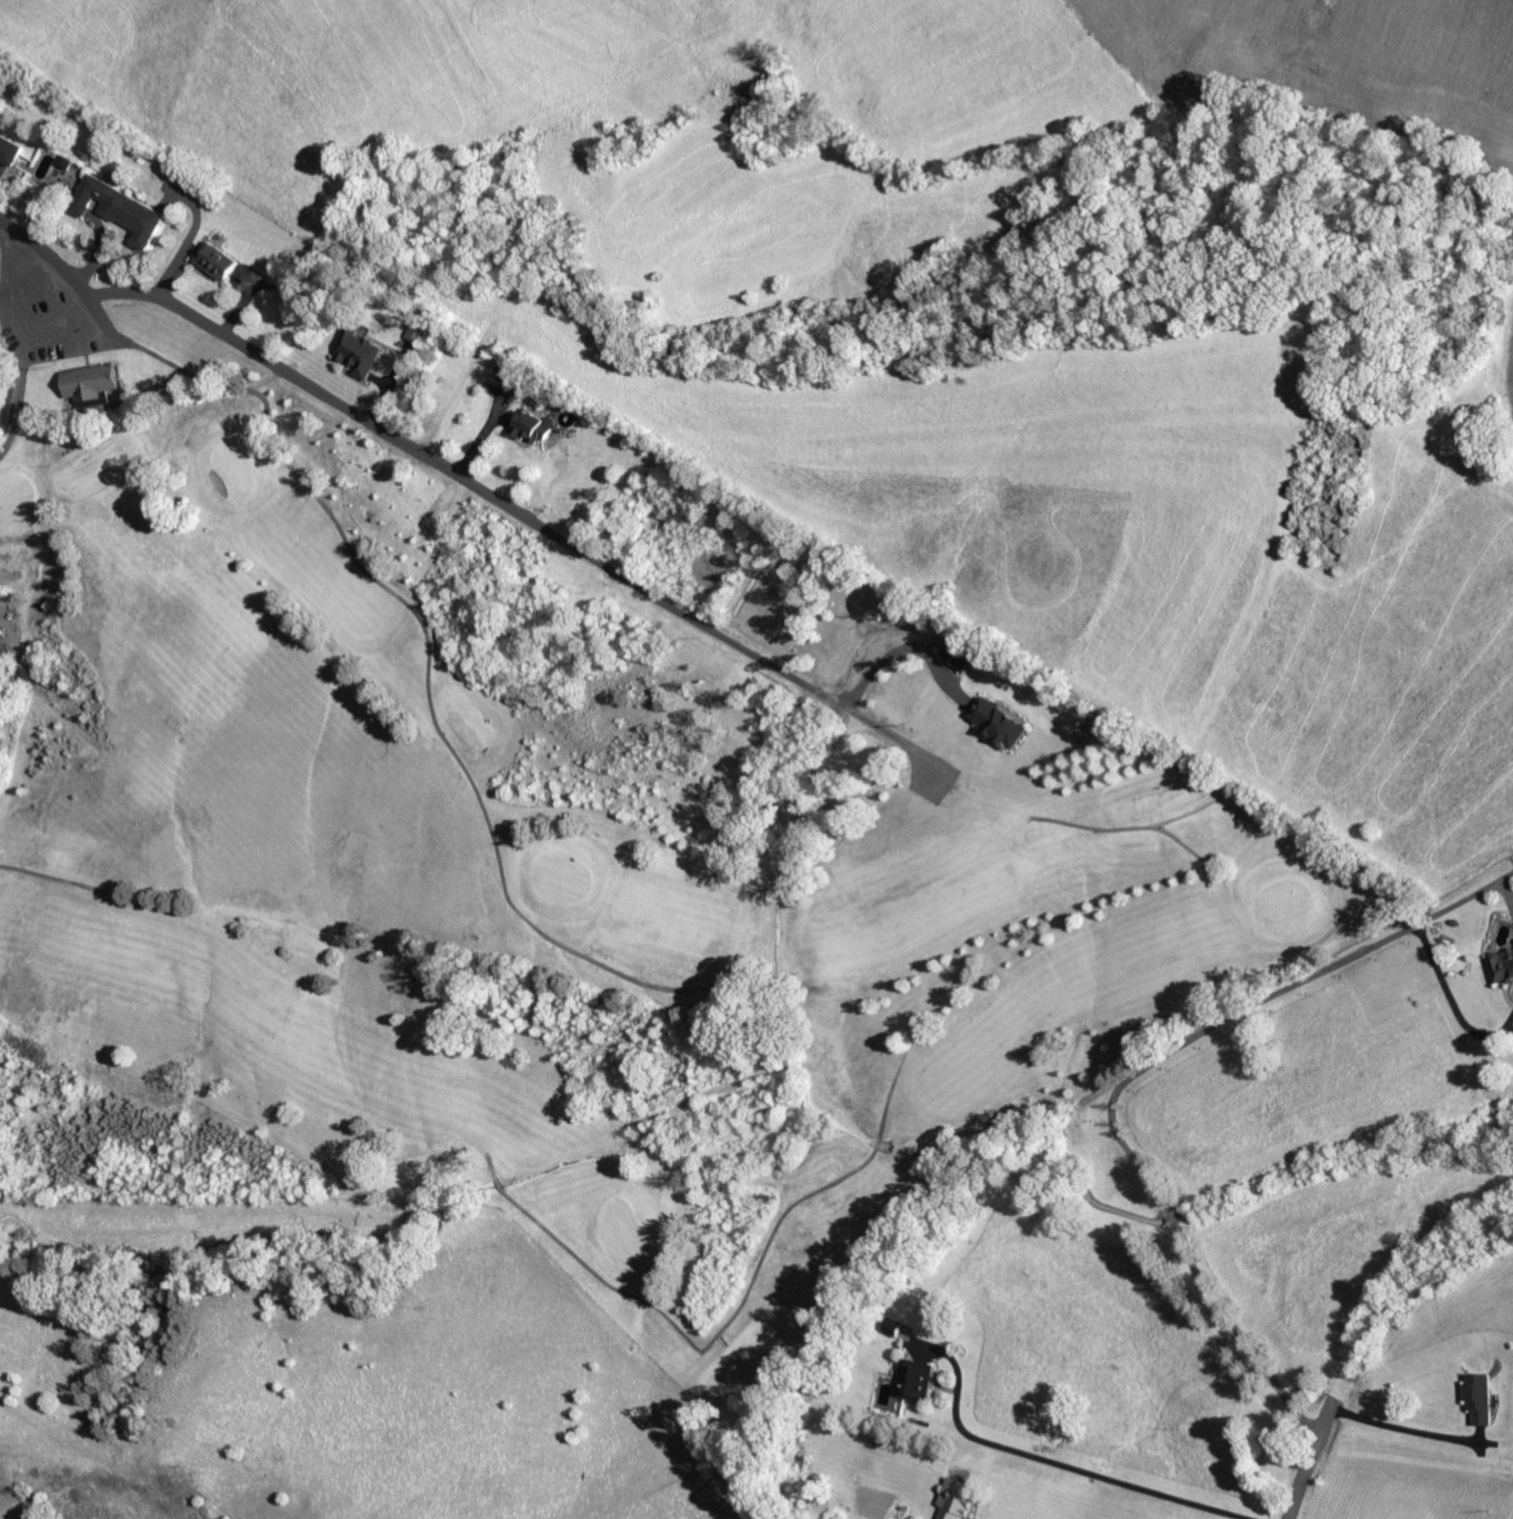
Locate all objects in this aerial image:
building: (11, 148)
building: (48, 166)
building: (124, 208)
building: (218, 260)
building: (421, 331)
building: (361, 351)
building: (92, 381)
road: (364, 420)
building: (535, 424)
building: (0, 631)
building: (963, 655)
building: (1001, 720)
building: (1502, 965)
building: (919, 1379)
building: (1483, 1396)
road: (1047, 1461)
road: (1310, 1465)
building: (959, 1498)

